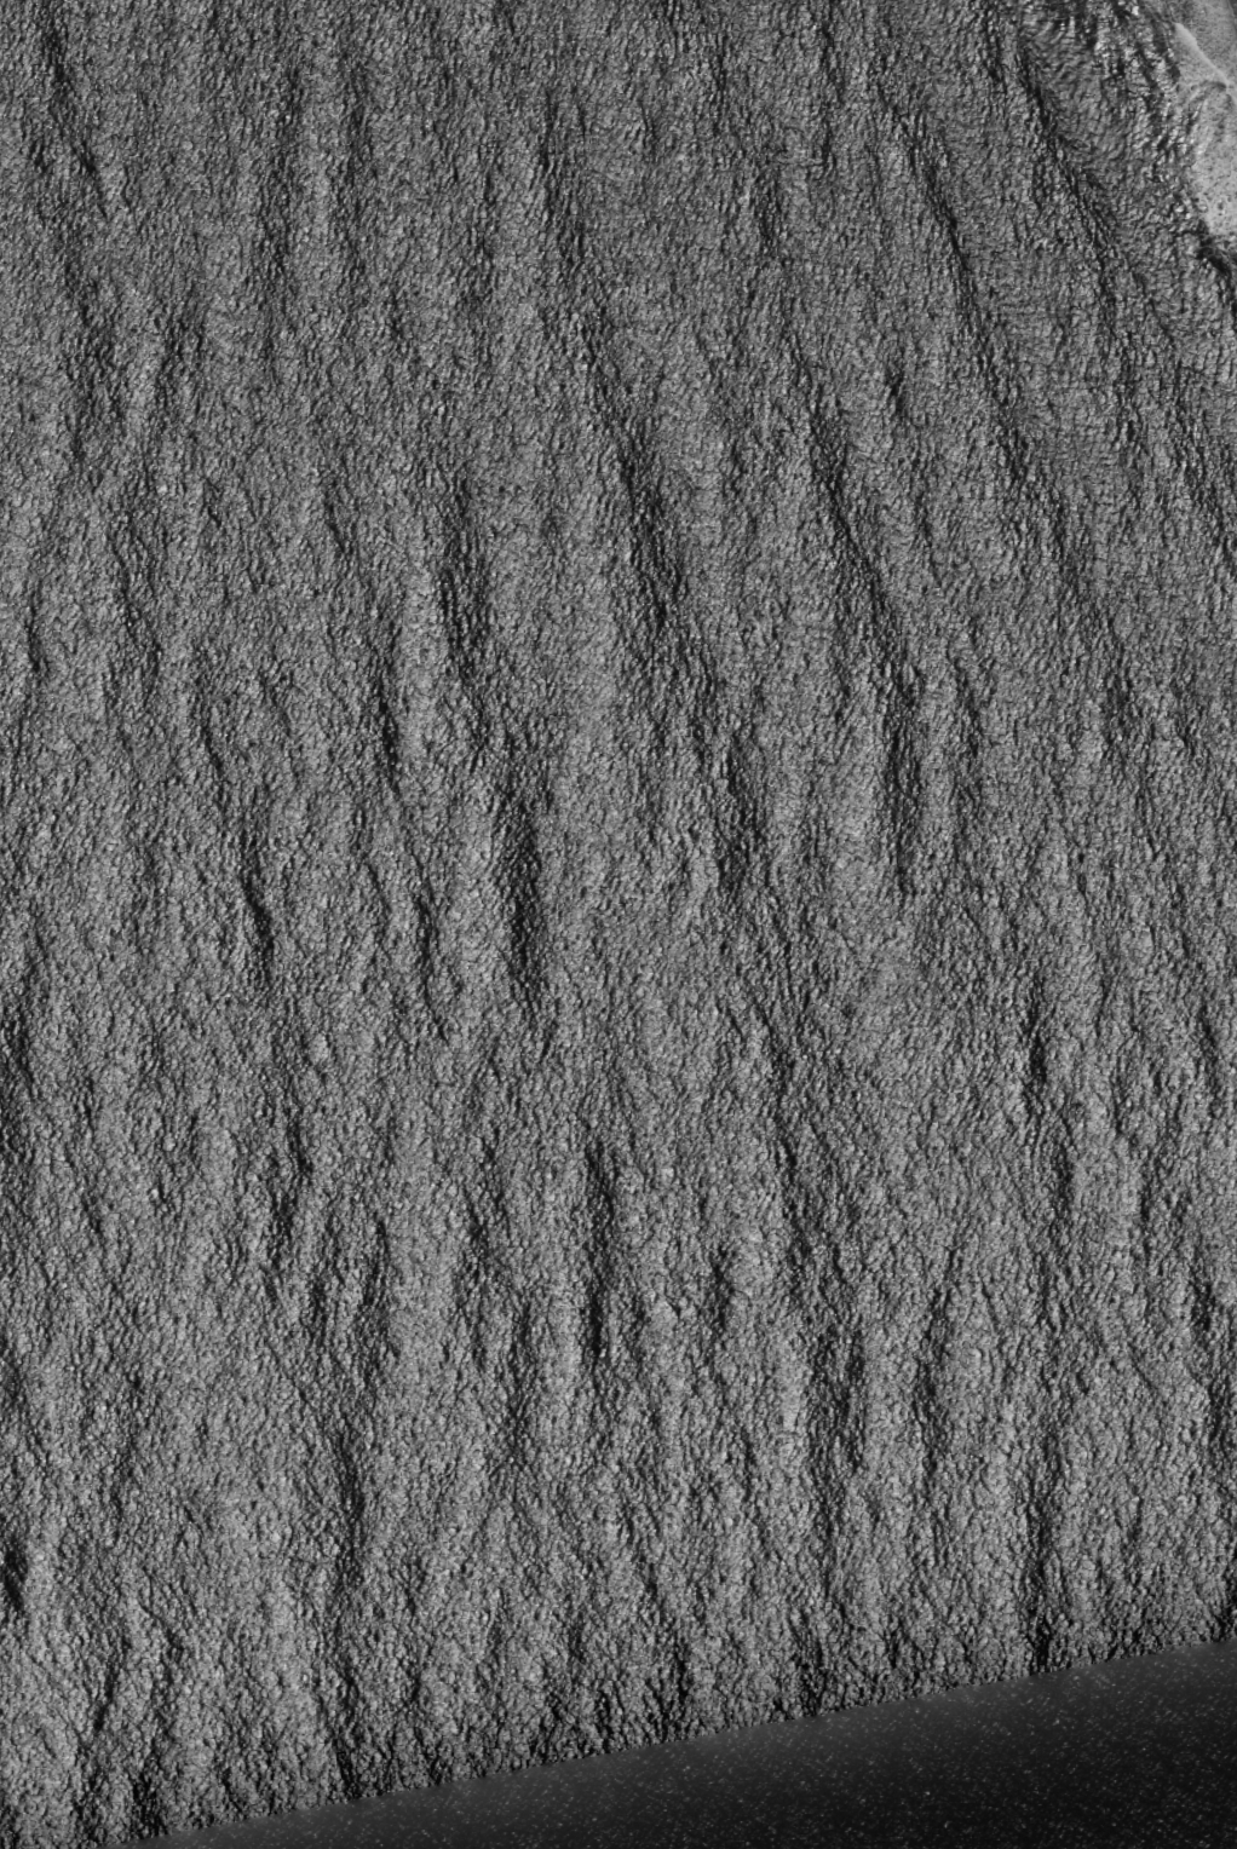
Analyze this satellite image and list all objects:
park: (1233, 4)

